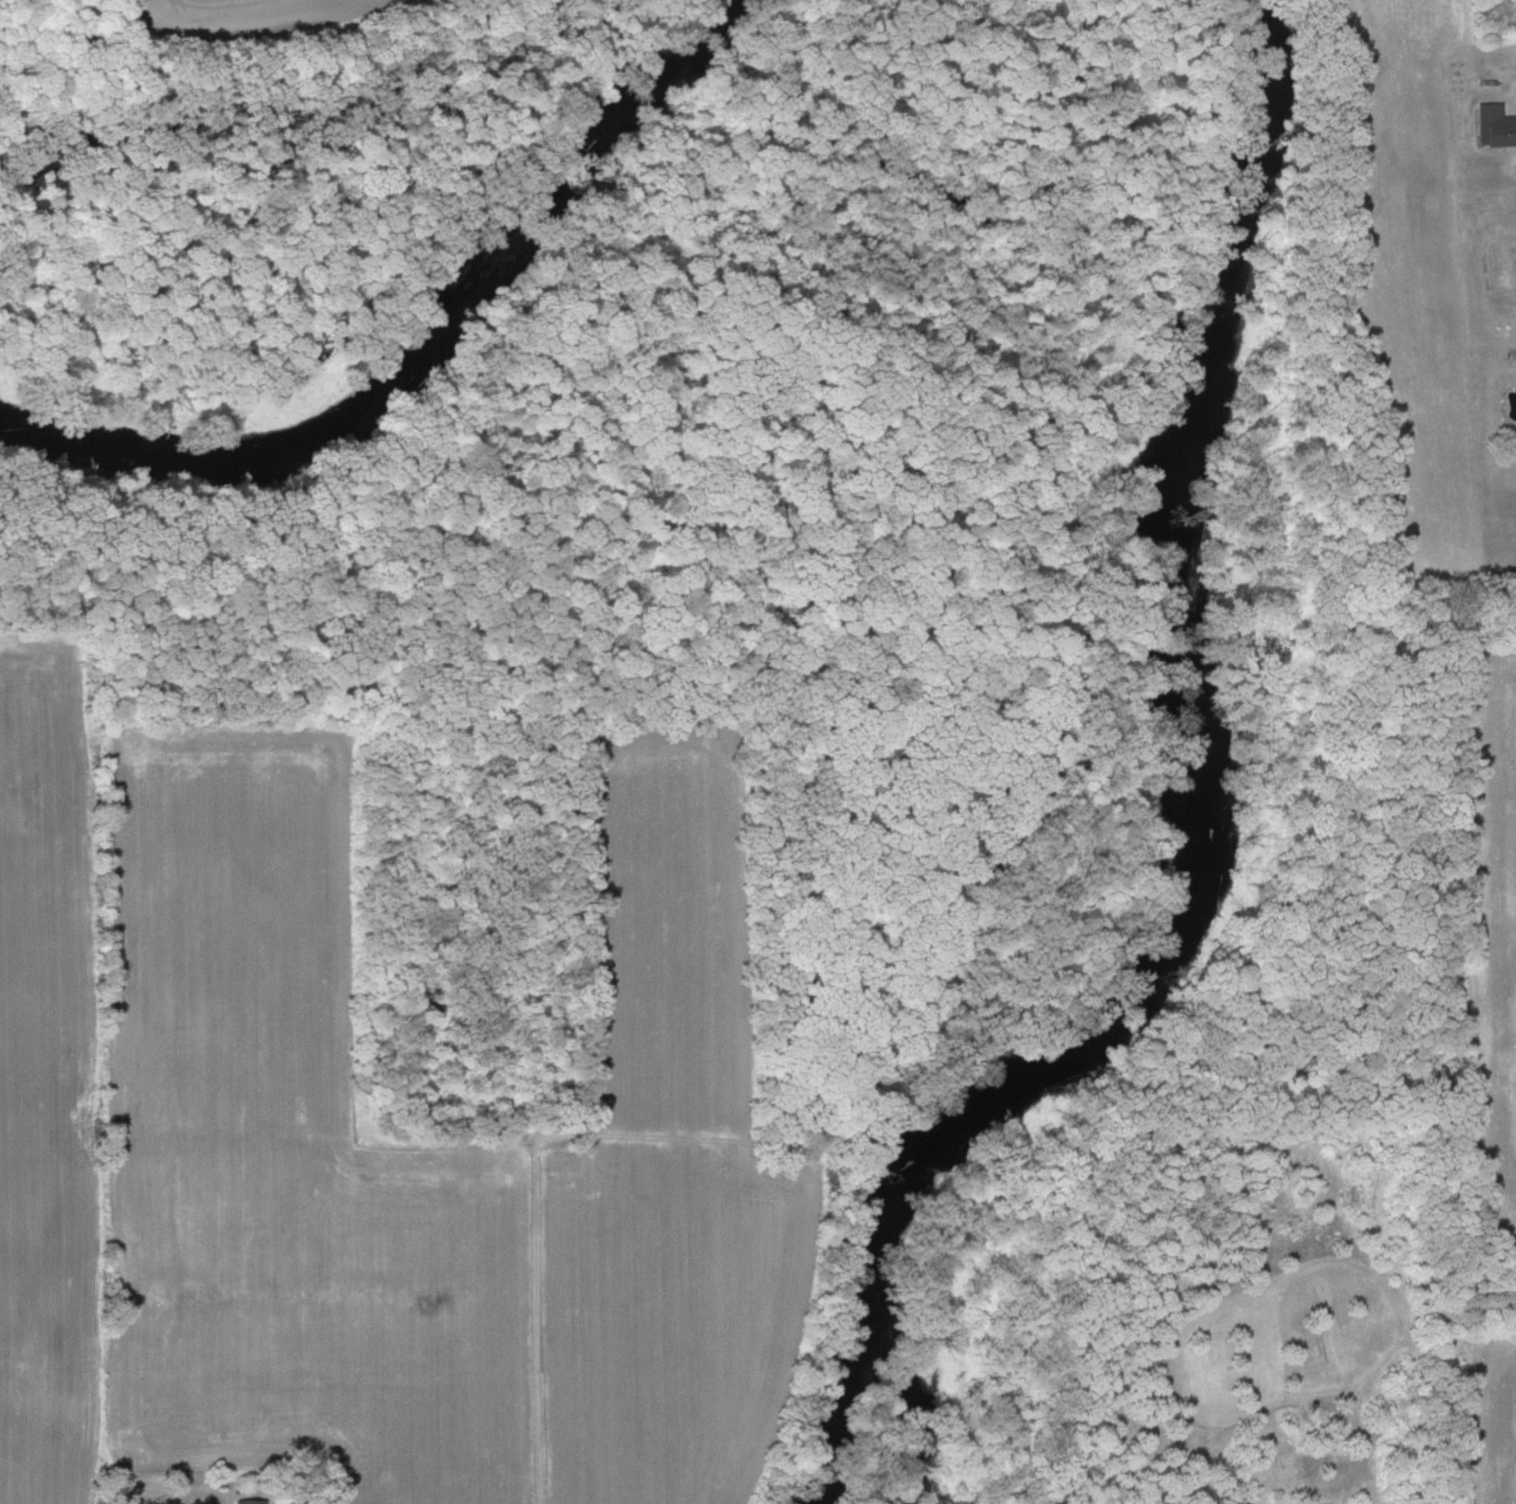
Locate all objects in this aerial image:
building: (1497, 125)
road: (1510, 275)
river: (428, 352)
river: (1208, 819)
building: (251, 1502)

